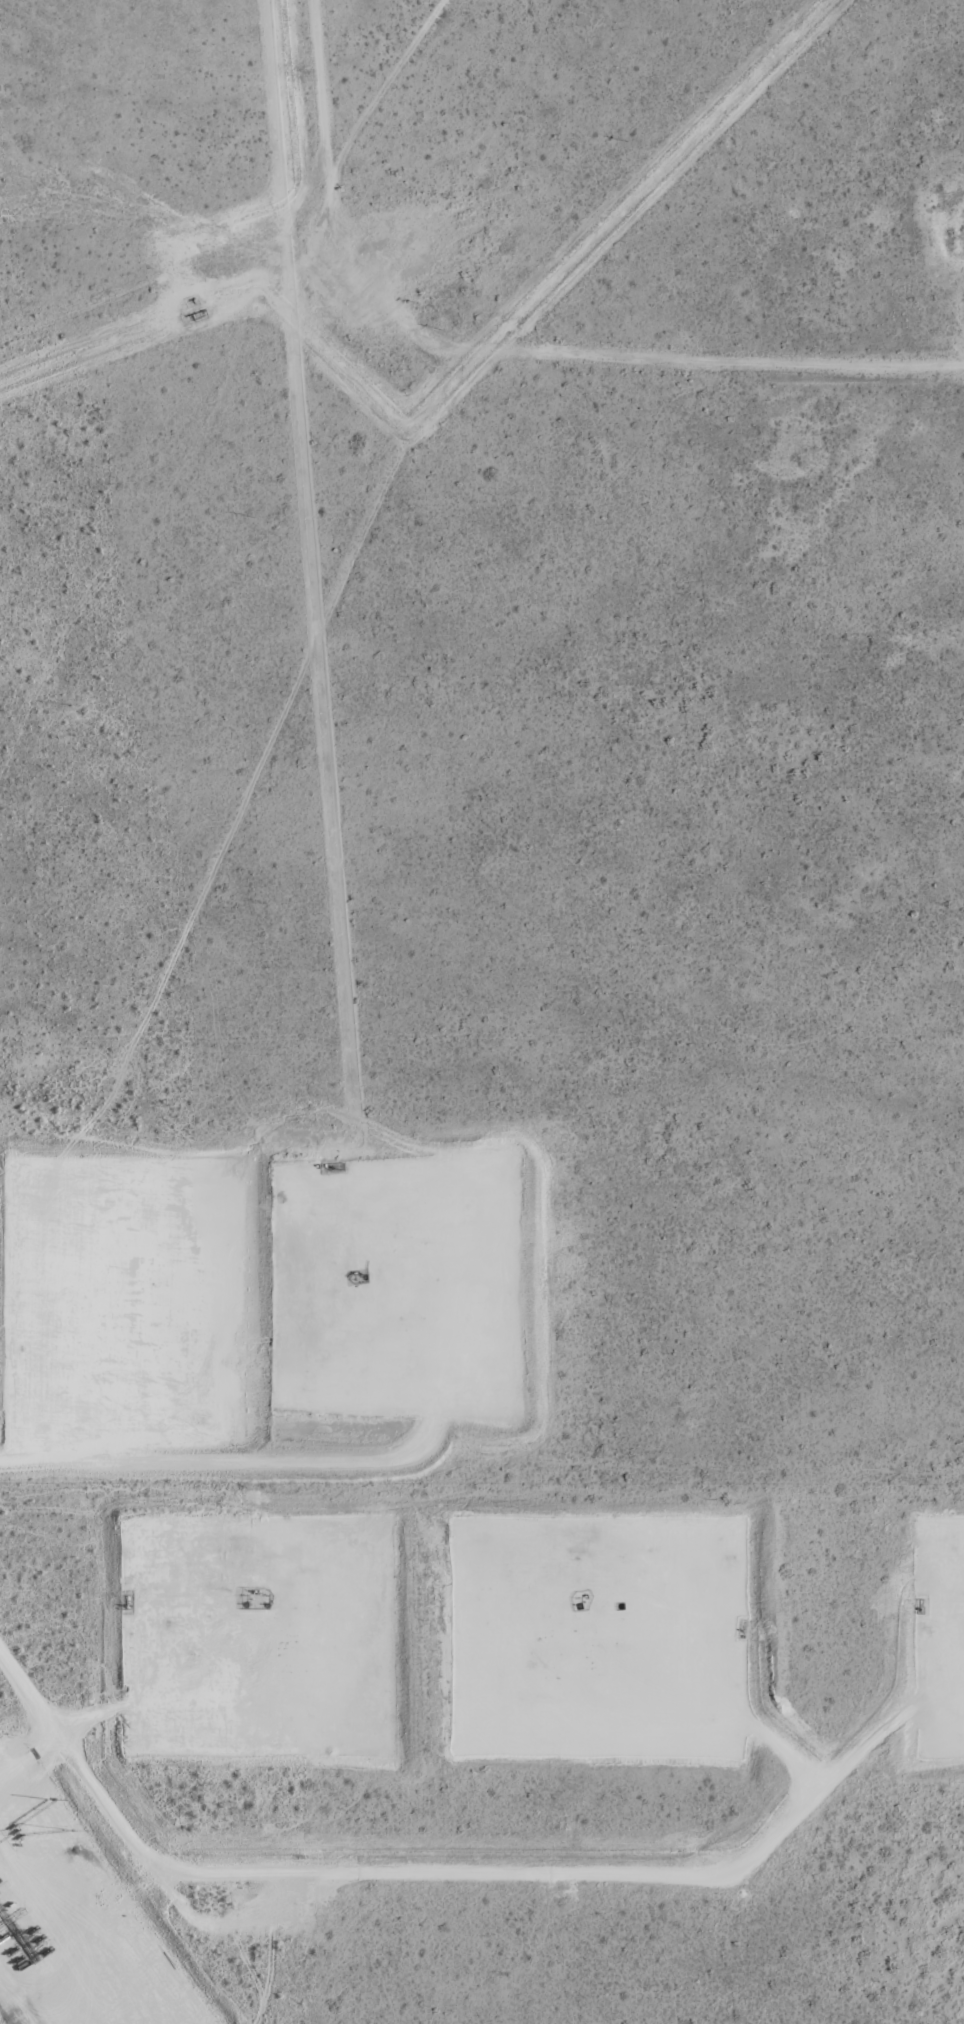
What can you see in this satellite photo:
petroleum well: (363, 1276)
road: (128, 1318)
road: (265, 1462)
petroleum well: (244, 1604)
petroleum well: (267, 1604)
petroleum well: (579, 1605)
petroleum well: (620, 1605)
road: (715, 1653)
road: (221, 1662)
road: (27, 1754)
road: (79, 1774)
road: (599, 1879)
road: (60, 1913)

